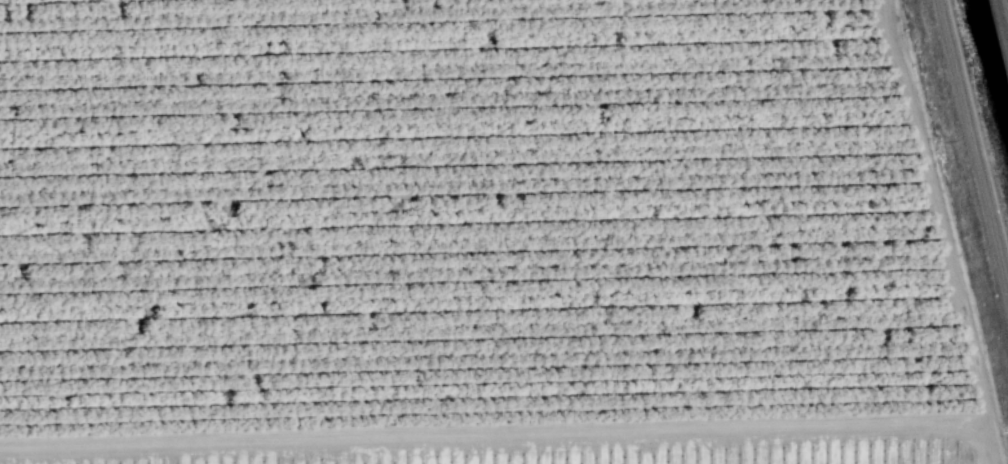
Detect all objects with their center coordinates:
road: (1005, 10)
road: (938, 209)
road: (494, 433)
road: (994, 441)
road: (913, 442)
crop: (555, 443)
road: (490, 449)
road: (171, 454)

